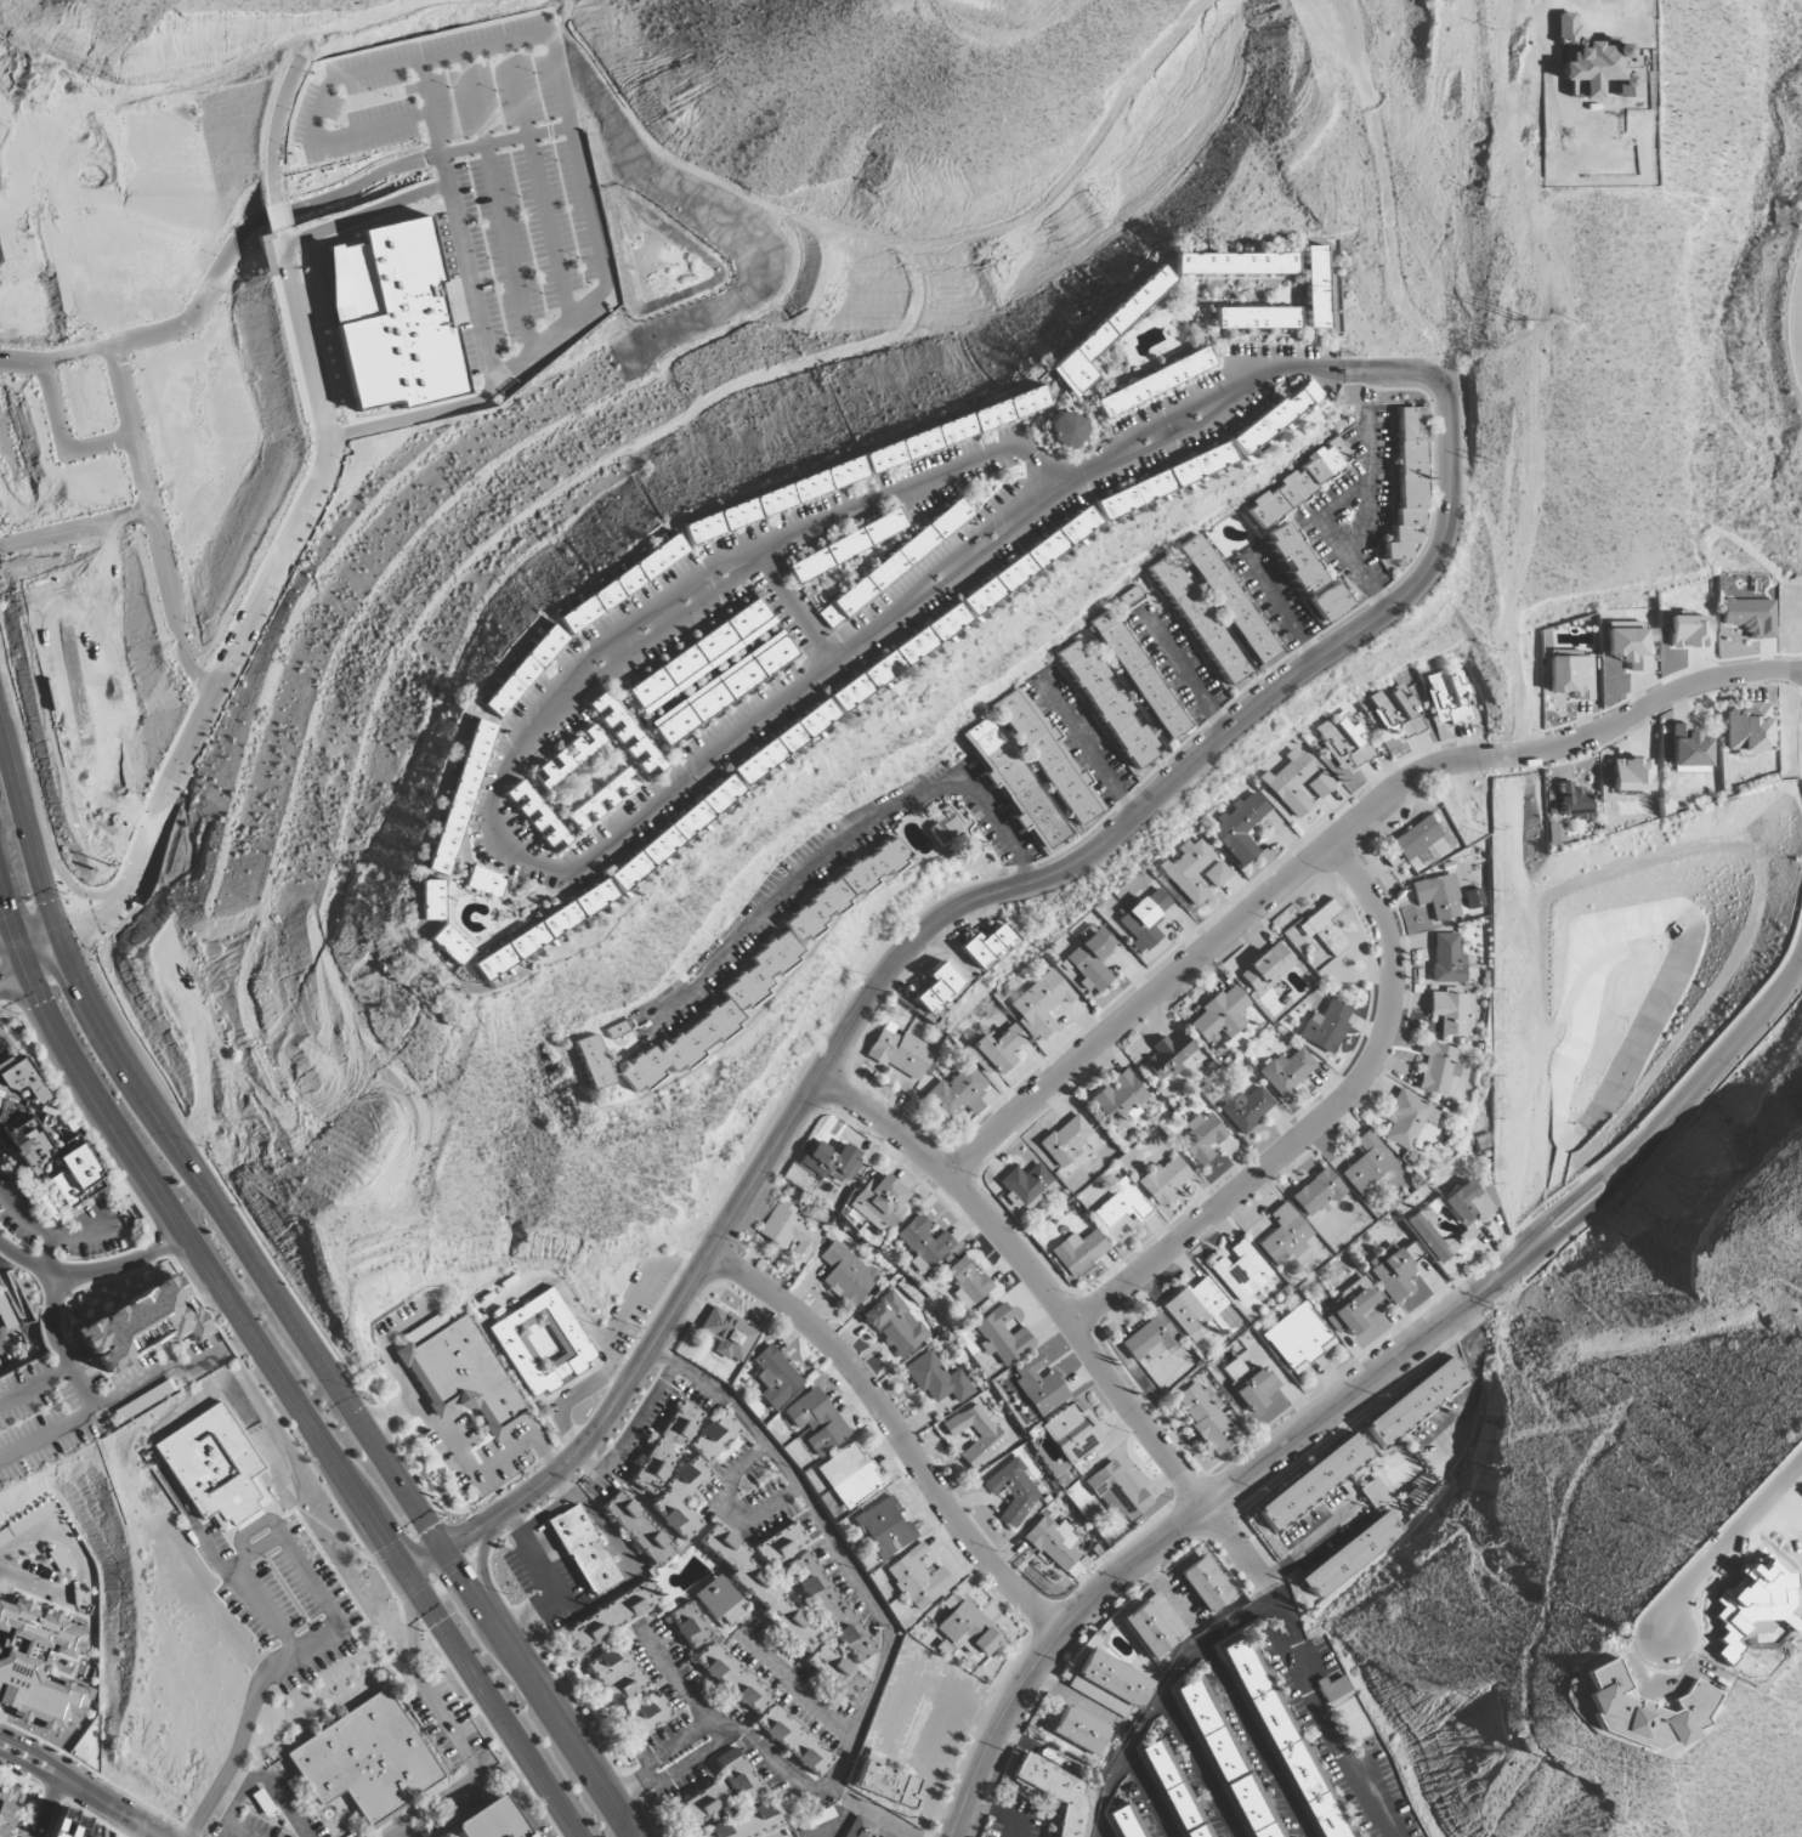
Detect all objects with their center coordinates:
building: (1596, 63)
road: (274, 130)
road: (296, 210)
road: (278, 216)
building: (1235, 263)
building: (1315, 287)
building: (390, 318)
building: (1256, 318)
road: (1800, 323)
building: (1104, 334)
road: (1801, 339)
road: (1247, 380)
building: (1154, 382)
building: (1274, 416)
building: (1065, 430)
road: (62, 440)
building: (1303, 480)
building: (1163, 481)
building: (1407, 482)
road: (1328, 510)
road: (1365, 521)
road: (152, 523)
road: (74, 529)
road: (287, 546)
building: (845, 546)
building: (1293, 557)
building: (1028, 561)
building: (894, 563)
building: (622, 584)
building: (1229, 600)
building: (1330, 603)
road: (794, 606)
road: (1283, 612)
building: (1750, 616)
building: (1198, 619)
road: (232, 623)
building: (1688, 631)
building: (1628, 643)
building: (699, 656)
building: (894, 662)
building: (525, 671)
road: (1184, 673)
building: (1570, 674)
building: (1138, 675)
building: (721, 688)
building: (1451, 698)
building: (1110, 708)
building: (1398, 711)
building: (1747, 728)
building: (625, 735)
building: (1345, 741)
building: (783, 742)
road: (1090, 752)
building: (1688, 752)
building: (569, 755)
building: (1048, 759)
building: (1631, 775)
building: (1292, 782)
building: (1014, 784)
building: (1321, 784)
building: (460, 798)
building: (602, 799)
building: (1571, 800)
building: (537, 817)
road: (495, 818)
building: (950, 826)
building: (1240, 828)
building: (673, 835)
building: (1415, 838)
road: (1334, 841)
road: (841, 845)
road: (147, 856)
building: (1390, 857)
building: (1190, 871)
building: (1217, 874)
building: (486, 881)
road: (42, 885)
road: (75, 890)
building: (843, 890)
building: (1438, 896)
traffic signals: (49, 900)
building: (431, 900)
building: (1144, 920)
building: (1324, 929)
building: (544, 930)
road: (34, 931)
road: (918, 935)
traffic signals: (90, 936)
road: (6, 940)
building: (450, 945)
building: (986, 947)
road: (46, 959)
building: (1446, 959)
building: (1089, 962)
building: (1266, 966)
road: (12, 974)
building: (937, 988)
traffic signals: (40, 1003)
building: (1041, 1003)
building: (1452, 1013)
building: (712, 1016)
building: (1220, 1016)
building: (1325, 1026)
building: (620, 1033)
building: (996, 1050)
building: (900, 1053)
building: (1168, 1055)
building: (594, 1061)
building: (1438, 1068)
building: (1286, 1072)
building: (23, 1081)
building: (0, 1094)
building: (957, 1094)
building: (1118, 1098)
building: (1246, 1109)
road: (1668, 1115)
building: (1407, 1118)
road: (1316, 1123)
building: (1201, 1138)
building: (1066, 1140)
building: (30, 1146)
building: (831, 1162)
building: (1366, 1163)
building: (51, 1169)
building: (78, 1177)
building: (1163, 1180)
building: (1025, 1183)
building: (1316, 1192)
building: (879, 1202)
building: (1121, 1204)
building: (1466, 1204)
building: (788, 1232)
building: (1283, 1235)
building: (1430, 1236)
building: (923, 1243)
building: (1077, 1252)
building: (1411, 1252)
building: (1240, 1271)
road: (93, 1272)
building: (846, 1272)
building: (1390, 1272)
building: (965, 1282)
road: (192, 1287)
building: (1350, 1308)
building: (1200, 1310)
building: (6, 1314)
road: (1061, 1319)
building: (142, 1323)
building: (895, 1325)
building: (727, 1334)
building: (1002, 1336)
building: (1298, 1338)
building: (1149, 1339)
building: (542, 1344)
road: (57, 1348)
road: (277, 1372)
building: (460, 1374)
building: (775, 1378)
road: (1480, 1378)
building: (937, 1379)
building: (1248, 1383)
building: (1039, 1384)
road: (35, 1388)
building: (143, 1400)
building: (1415, 1400)
road: (115, 1401)
building: (1207, 1417)
building: (816, 1421)
road: (631, 1430)
building: (988, 1431)
road: (895, 1433)
building: (1071, 1434)
building: (715, 1436)
road: (373, 1440)
building: (665, 1448)
building: (214, 1468)
building: (849, 1475)
building: (1311, 1481)
building: (1013, 1491)
building: (1116, 1492)
building: (1375, 1492)
building: (680, 1499)
road: (1197, 1514)
building: (28, 1523)
building: (884, 1527)
building: (637, 1529)
traffic signals: (465, 1538)
road: (279, 1541)
traffic signals: (387, 1542)
road: (1311, 1542)
road: (1722, 1543)
building: (780, 1544)
building: (1056, 1546)
building: (583, 1550)
building: (1351, 1554)
building: (514, 1564)
traffic signals: (460, 1570)
road: (856, 1576)
building: (918, 1578)
road: (484, 1580)
building: (1205, 1586)
building: (758, 1587)
road: (1167, 1589)
road: (1275, 1594)
building: (720, 1604)
building: (831, 1608)
road: (1257, 1610)
building: (612, 1616)
building: (688, 1626)
building: (1152, 1627)
building: (968, 1631)
building: (36, 1640)
road: (1283, 1654)
building: (837, 1672)
building: (616, 1674)
building: (1109, 1684)
building: (1334, 1689)
building: (32, 1703)
building: (761, 1710)
building: (1643, 1711)
building: (646, 1716)
building: (1078, 1731)
road: (1253, 1740)
road: (239, 1741)
building: (1283, 1741)
road: (35, 1753)
building: (364, 1759)
building: (1229, 1763)
road: (1198, 1764)
road: (29, 1768)
building: (738, 1778)
building: (884, 1781)
road: (272, 1790)
building: (1175, 1791)
building: (1059, 1792)
road: (1150, 1793)
building: (703, 1804)
road: (110, 1808)
road: (47, 1809)
building: (493, 1820)
building: (6, 1822)
road: (223, 1822)
building: (750, 1822)
building: (1130, 1822)
building: (74, 1826)
building: (865, 1830)
road: (392, 1831)

